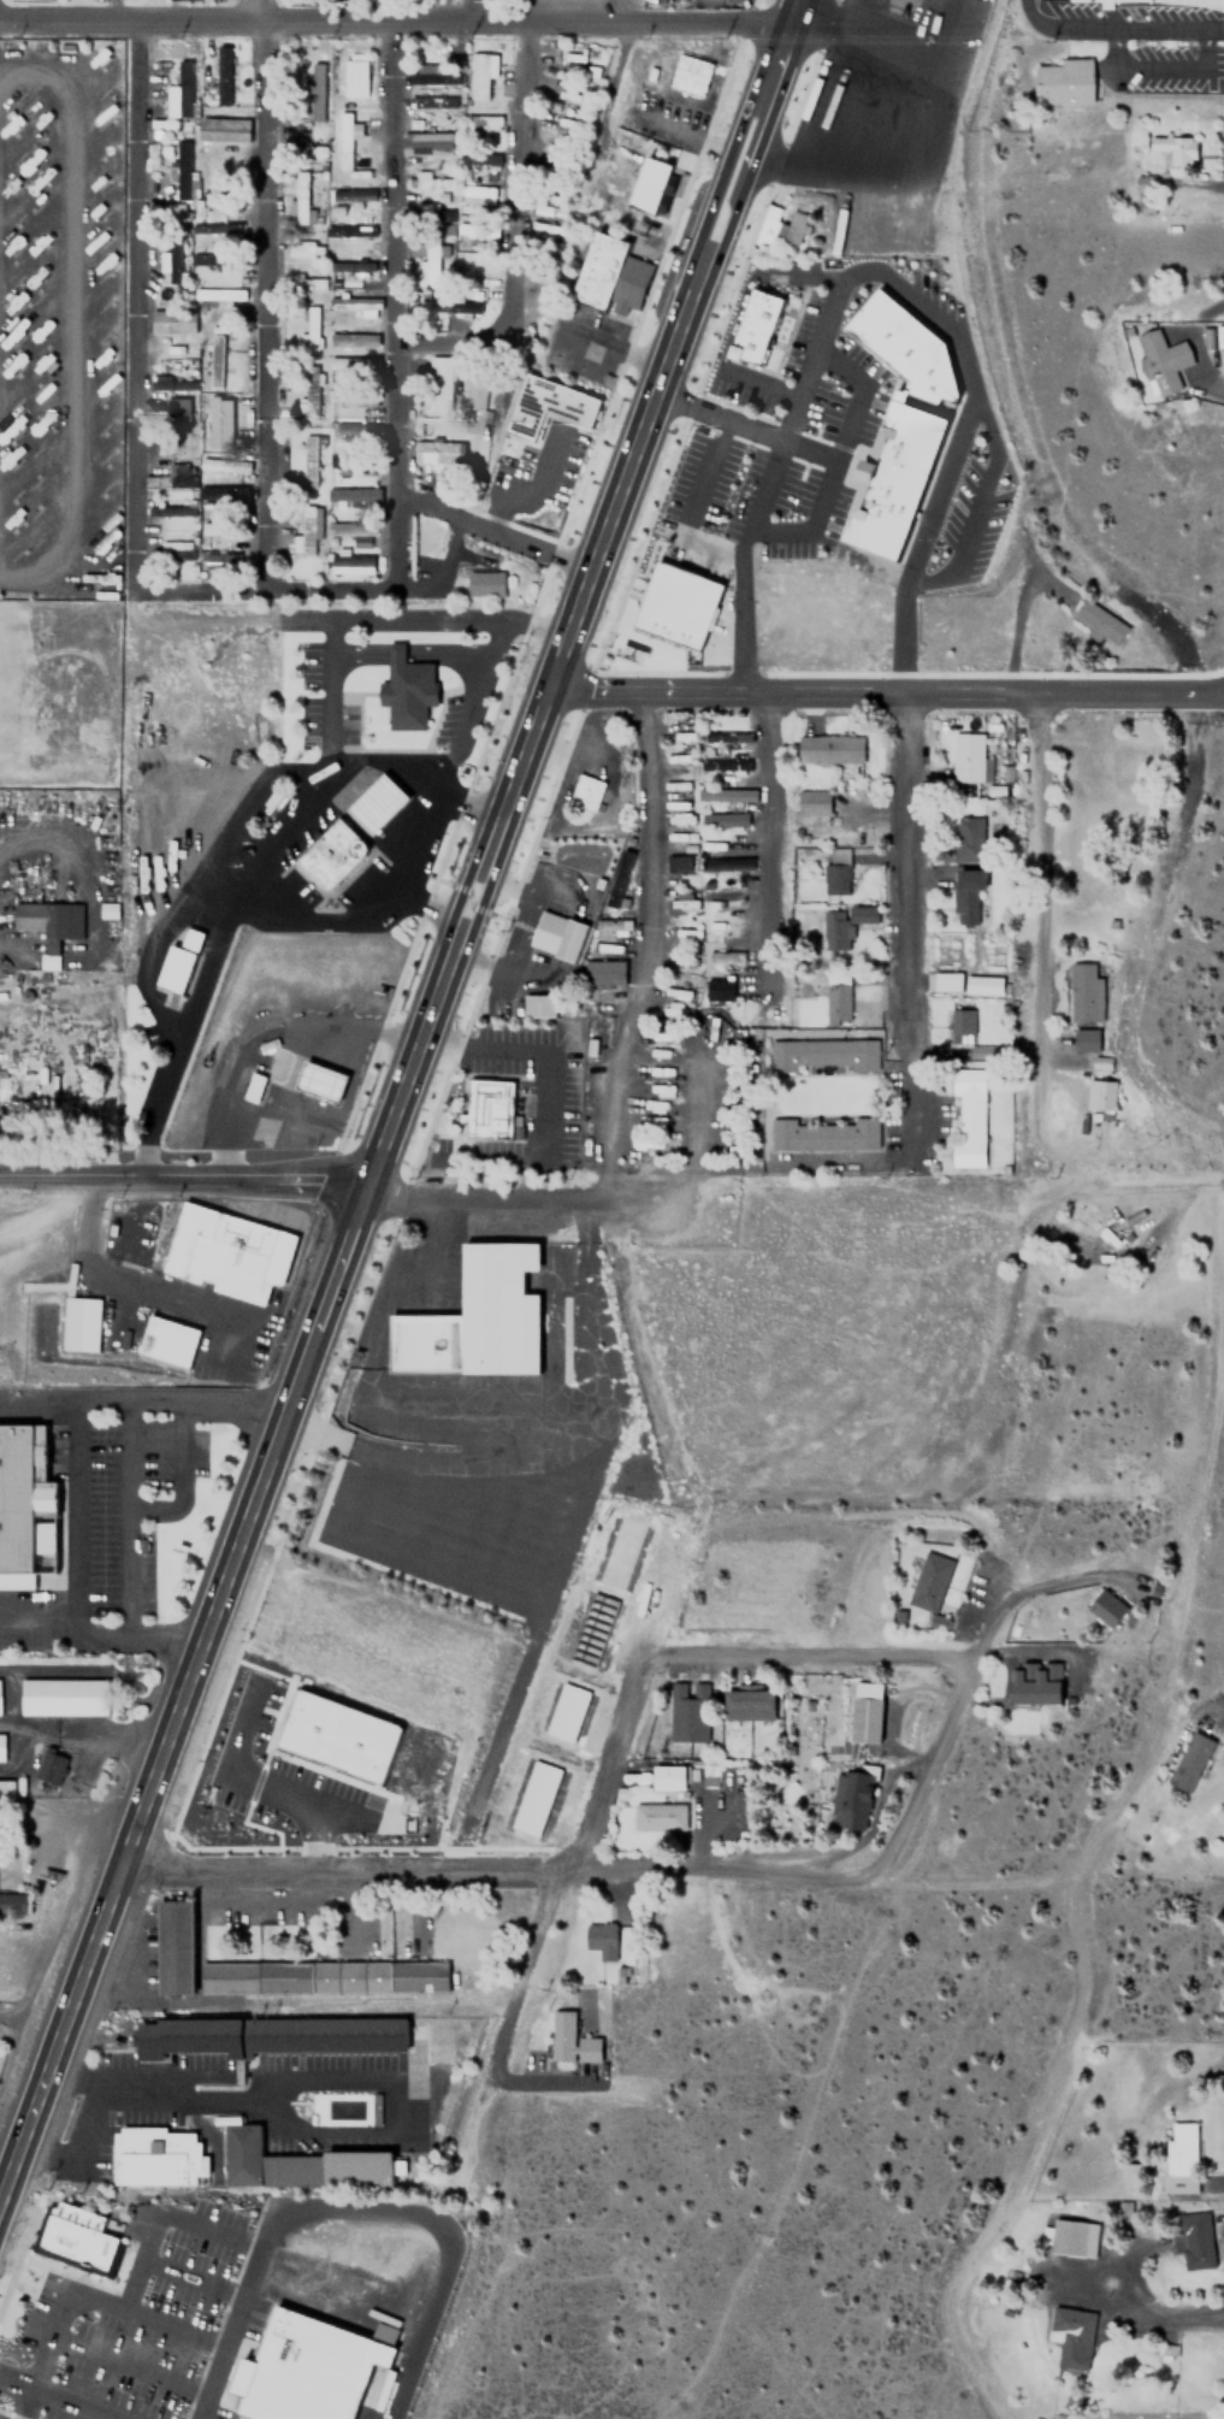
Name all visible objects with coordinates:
building: (1110, 2)
road: (485, 8)
road: (791, 8)
road: (394, 18)
building: (349, 72)
building: (224, 75)
building: (428, 75)
building: (479, 75)
building: (1064, 81)
building: (178, 92)
building: (313, 93)
building: (432, 104)
building: (481, 123)
building: (437, 140)
road: (732, 142)
building: (345, 144)
road: (752, 148)
building: (1176, 149)
building: (306, 152)
building: (478, 159)
building: (182, 169)
building: (425, 181)
building: (650, 185)
building: (475, 195)
building: (300, 197)
building: (343, 197)
building: (421, 208)
building: (544, 225)
building: (780, 226)
building: (219, 229)
road: (518, 230)
building: (303, 248)
building: (211, 260)
building: (173, 261)
building: (427, 261)
building: (463, 264)
building: (351, 266)
building: (610, 272)
building: (302, 282)
building: (218, 294)
road: (265, 295)
building: (354, 302)
building: (455, 306)
building: (175, 318)
building: (308, 328)
building: (755, 328)
building: (354, 338)
building: (170, 344)
building: (906, 348)
building: (217, 361)
building: (1160, 361)
building: (221, 362)
building: (351, 366)
building: (439, 380)
building: (171, 382)
building: (474, 390)
building: (351, 396)
building: (308, 399)
building: (212, 401)
building: (548, 405)
building: (178, 414)
building: (213, 429)
building: (354, 432)
building: (176, 444)
building: (439, 454)
building: (308, 460)
building: (351, 462)
building: (214, 464)
building: (178, 474)
building: (895, 482)
building: (223, 494)
building: (350, 497)
building: (171, 509)
building: (302, 532)
building: (349, 532)
road: (496, 533)
building: (170, 554)
building: (218, 560)
building: (350, 564)
building: (486, 585)
road: (270, 590)
building: (672, 610)
building: (1099, 623)
building: (407, 690)
road: (887, 692)
building: (829, 748)
building: (968, 759)
building: (725, 765)
building: (585, 792)
building: (728, 795)
building: (815, 802)
building: (377, 804)
gas station: (377, 804)
building: (727, 819)
building: (966, 838)
road: (651, 846)
road: (773, 848)
building: (331, 854)
building: (682, 863)
building: (729, 865)
building: (835, 866)
building: (966, 887)
road: (469, 907)
building: (49, 926)
road: (912, 927)
building: (835, 931)
building: (560, 936)
road: (495, 942)
building: (177, 962)
building: (604, 972)
building: (945, 981)
building: (982, 984)
building: (719, 990)
building: (835, 997)
building: (542, 1007)
building: (1083, 1007)
building: (960, 1021)
building: (268, 1045)
building: (986, 1051)
building: (822, 1052)
building: (320, 1081)
gas station: (320, 1081)
building: (253, 1087)
building: (487, 1108)
building: (968, 1116)
building: (821, 1134)
road: (832, 1163)
road: (183, 1175)
road: (694, 1211)
building: (225, 1247)
building: (475, 1318)
building: (79, 1323)
building: (165, 1340)
building: (368, 1452)
building: (25, 1506)
building: (619, 1553)
building: (928, 1582)
building: (1107, 1610)
building: (590, 1630)
road: (806, 1654)
building: (1035, 1686)
building: (63, 1695)
building: (746, 1704)
building: (566, 1712)
building: (686, 1712)
building: (865, 1719)
building: (342, 1736)
building: (1, 1746)
building: (1190, 1762)
building: (49, 1766)
road: (929, 1769)
building: (658, 1777)
building: (6, 1788)
building: (851, 1795)
building: (533, 1798)
building: (658, 1816)
building: (5, 1828)
road: (566, 1860)
road: (126, 1866)
road: (496, 1869)
building: (13, 1904)
building: (601, 1939)
building: (177, 1947)
building: (326, 1977)
building: (274, 2039)
building: (569, 2039)
building: (377, 2110)
road: (301, 2134)
building: (1181, 2157)
road: (87, 2158)
building: (159, 2158)
building: (302, 2165)
building: (1133, 2177)
road: (5, 2205)
road: (351, 2208)
road: (165, 2217)
building: (1072, 2236)
building: (76, 2238)
building: (1194, 2240)
road: (100, 2296)
building: (388, 2334)
building: (1070, 2338)
building: (309, 2371)
road: (58, 2397)
road: (25, 2403)
building: (237, 2415)

